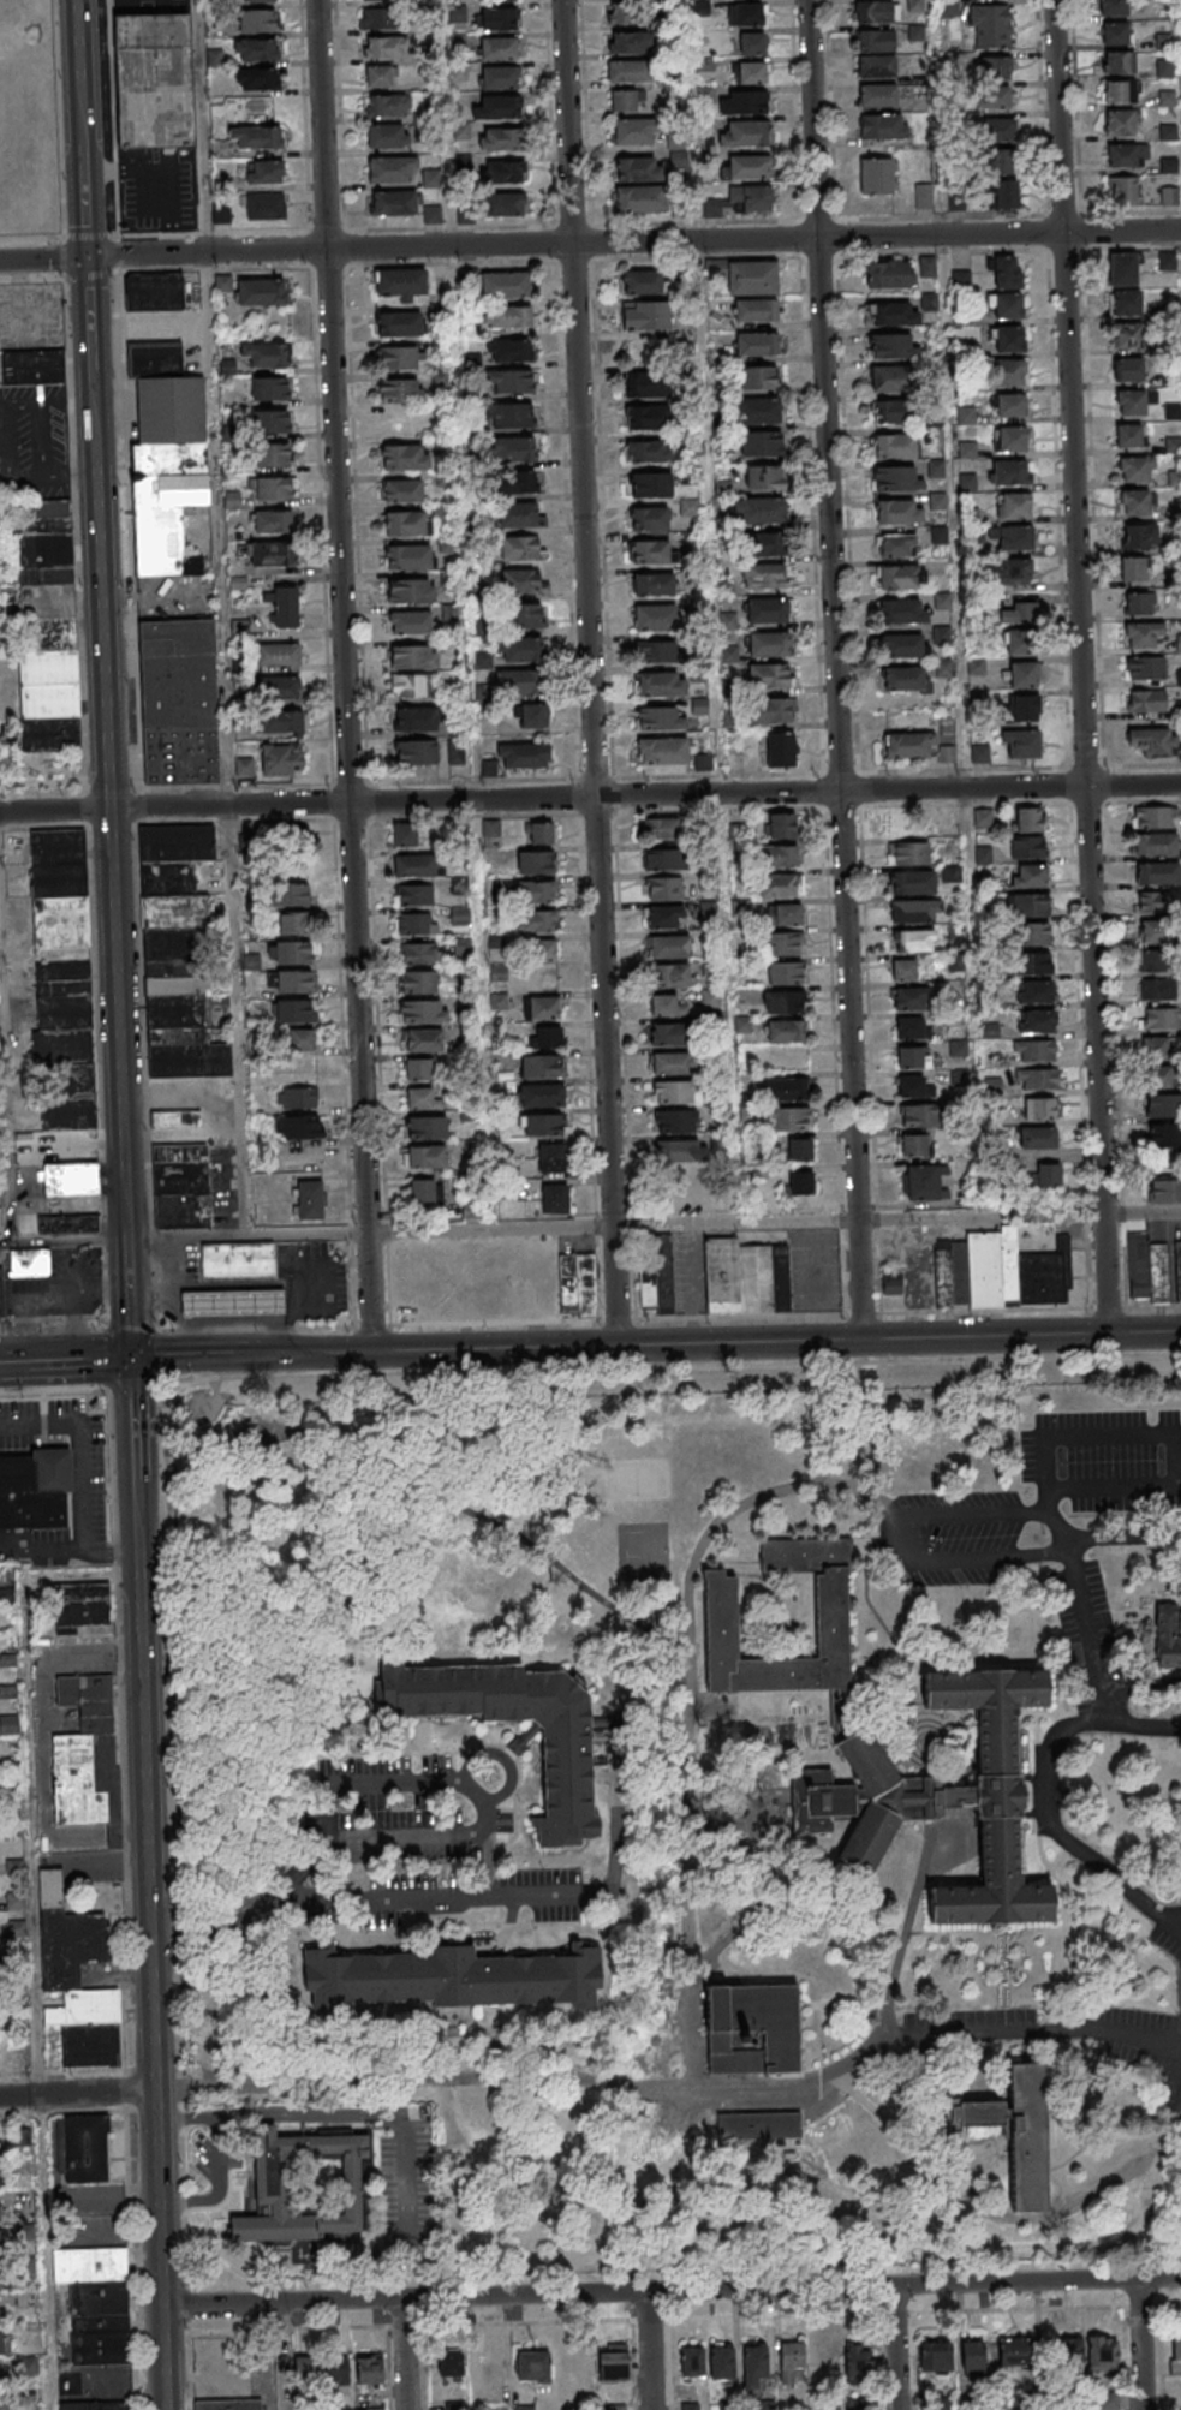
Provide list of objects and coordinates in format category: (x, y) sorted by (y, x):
building: (257, 0)
building: (372, 0)
building: (1114, 7)
building: (873, 11)
building: (746, 13)
building: (627, 14)
building: (378, 18)
building: (495, 18)
building: (257, 19)
building: (991, 25)
building: (1115, 34)
building: (876, 40)
building: (751, 42)
building: (631, 43)
building: (386, 47)
building: (499, 48)
building: (256, 49)
building: (1119, 62)
building: (876, 65)
building: (995, 67)
building: (1164, 67)
building: (628, 72)
building: (750, 72)
building: (380, 76)
building: (500, 77)
building: (153, 78)
building: (258, 78)
building: (1119, 91)
building: (877, 95)
building: (994, 96)
building: (1167, 97)
building: (625, 101)
building: (747, 101)
building: (387, 105)
building: (497, 106)
park: (14, 117)
building: (1122, 123)
building: (878, 124)
road: (198, 126)
building: (998, 127)
road: (79, 129)
building: (634, 131)
building: (750, 131)
building: (1168, 131)
building: (388, 135)
building: (257, 137)
building: (500, 138)
building: (1127, 155)
building: (1169, 163)
building: (748, 166)
building: (392, 168)
building: (639, 168)
building: (266, 171)
building: (503, 171)
building: (877, 175)
building: (431, 178)
building: (1123, 191)
building: (1003, 192)
building: (924, 195)
building: (638, 198)
building: (750, 198)
building: (393, 202)
building: (505, 203)
building: (267, 205)
building: (221, 211)
road: (590, 241)
traffic signals: (85, 257)
building: (1167, 260)
building: (1123, 268)
building: (1008, 270)
building: (890, 273)
building: (752, 276)
building: (642, 281)
building: (401, 282)
building: (505, 285)
building: (154, 291)
building: (261, 291)
building: (1125, 302)
building: (1006, 304)
building: (757, 309)
building: (893, 312)
building: (646, 315)
building: (508, 316)
building: (400, 323)
building: (1128, 335)
building: (1009, 338)
building: (757, 344)
building: (891, 346)
building: (509, 350)
building: (266, 356)
building: (400, 358)
building: (32, 366)
building: (1129, 370)
building: (1009, 372)
building: (759, 378)
building: (890, 378)
building: (513, 381)
building: (646, 384)
building: (268, 389)
building: (399, 390)
building: (1010, 405)
building: (890, 411)
building: (759, 412)
building: (512, 416)
building: (646, 417)
building: (270, 422)
building: (1128, 434)
building: (1012, 439)
building: (761, 445)
building: (1173, 445)
building: (894, 446)
building: (512, 449)
building: (646, 451)
building: (270, 455)
building: (166, 457)
building: (405, 457)
building: (936, 469)
building: (1137, 469)
building: (1008, 472)
building: (764, 478)
building: (896, 479)
building: (967, 482)
building: (518, 483)
building: (650, 484)
road: (706, 488)
building: (273, 489)
building: (402, 491)
building: (937, 501)
building: (1134, 501)
building: (1014, 505)
building: (761, 512)
building: (897, 512)
building: (441, 513)
building: (518, 514)
building: (649, 518)
building: (273, 521)
building: (406, 523)
road: (215, 529)
road: (96, 532)
building: (1139, 536)
building: (1016, 537)
building: (767, 544)
building: (896, 545)
building: (520, 547)
building: (649, 550)
building: (273, 553)
building: (408, 556)
building: (1135, 568)
building: (1014, 571)
building: (765, 575)
building: (901, 575)
building: (521, 580)
building: (652, 584)
building: (411, 590)
building: (1139, 603)
building: (282, 604)
building: (769, 609)
building: (903, 610)
building: (1019, 613)
building: (529, 615)
building: (655, 618)
building: (410, 622)
building: (47, 626)
building: (1144, 634)
building: (1016, 642)
building: (769, 643)
building: (905, 645)
building: (521, 649)
building: (656, 651)
building: (278, 654)
building: (414, 657)
road: (1079, 667)
building: (1144, 667)
road: (834, 669)
road: (587, 673)
building: (1022, 674)
road: (342, 675)
building: (770, 675)
building: (907, 679)
building: (519, 682)
building: (661, 684)
building: (413, 685)
building: (278, 688)
building: (178, 700)
building: (1145, 700)
building: (699, 706)
building: (1026, 708)
building: (771, 710)
building: (535, 715)
building: (416, 718)
building: (660, 718)
building: (278, 722)
building: (1153, 740)
building: (1024, 742)
building: (908, 744)
building: (780, 748)
building: (662, 750)
building: (416, 751)
building: (947, 753)
building: (524, 754)
building: (281, 758)
road: (590, 797)
building: (1155, 817)
building: (1027, 818)
building: (782, 825)
building: (661, 828)
building: (541, 831)
building: (405, 834)
building: (292, 845)
building: (1156, 845)
building: (1027, 846)
building: (908, 853)
building: (983, 854)
building: (782, 855)
building: (663, 859)
building: (537, 863)
building: (417, 864)
building: (1158, 873)
building: (1028, 875)
building: (911, 881)
building: (781, 884)
building: (59, 887)
building: (664, 889)
building: (537, 891)
building: (292, 894)
building: (412, 894)
building: (1155, 903)
building: (1030, 905)
building: (708, 909)
building: (915, 911)
building: (785, 914)
building: (460, 915)
building: (664, 918)
building: (535, 920)
building: (294, 923)
building: (416, 923)
building: (1153, 932)
building: (1033, 933)
building: (913, 941)
building: (783, 943)
building: (669, 947)
building: (544, 949)
building: (292, 950)
building: (174, 953)
building: (417, 953)
building: (955, 961)
building: (1034, 962)
building: (1151, 962)
building: (903, 970)
building: (785, 972)
building: (670, 974)
building: (294, 980)
building: (416, 980)
building: (1158, 990)
building: (1033, 991)
building: (912, 997)
building: (709, 998)
building: (785, 1001)
building: (666, 1004)
building: (543, 1008)
building: (293, 1009)
building: (419, 1010)
road: (233, 1020)
building: (1161, 1020)
building: (1037, 1021)
building: (912, 1027)
building: (785, 1030)
building: (669, 1033)
building: (548, 1037)
building: (296, 1039)
building: (422, 1039)
building: (66, 1042)
building: (959, 1048)
building: (1033, 1050)
building: (1159, 1050)
building: (913, 1056)
building: (673, 1062)
building: (541, 1067)
building: (304, 1068)
building: (418, 1068)
building: (1036, 1079)
building: (1161, 1079)
road: (119, 1082)
building: (913, 1086)
building: (783, 1090)
building: (676, 1091)
building: (541, 1096)
building: (297, 1097)
building: (422, 1098)
building: (1040, 1108)
building: (1162, 1108)
building: (920, 1115)
building: (177, 1118)
building: (675, 1120)
building: (788, 1120)
road: (5, 1121)
building: (543, 1123)
building: (302, 1126)
building: (427, 1127)
building: (1039, 1137)
building: (1164, 1137)
building: (913, 1144)
building: (680, 1150)
building: (799, 1150)
building: (428, 1156)
building: (550, 1157)
building: (1048, 1175)
building: (71, 1179)
building: (920, 1181)
building: (800, 1182)
building: (180, 1186)
building: (424, 1189)
building: (1164, 1191)
building: (310, 1199)
building: (555, 1199)
building: (68, 1223)
road: (590, 1225)
building: (241, 1259)
building: (30, 1263)
building: (1149, 1266)
building: (1179, 1267)
parking lot: (818, 1270)
building: (656, 1271)
building: (1015, 1271)
parking lot: (693, 1272)
building: (942, 1273)
building: (750, 1277)
building: (893, 1279)
building: (578, 1283)
building: (1, 1290)
building: (237, 1302)
road: (590, 1319)
road: (775, 1341)
road: (302, 1353)
road: (181, 1356)
traffic signals: (131, 1358)
road: (79, 1359)
road: (13, 1361)
road: (668, 1367)
road: (1165, 1434)
parking lot: (1105, 1458)
road: (84, 1474)
park: (639, 1481)
building: (37, 1487)
road: (913, 1534)
parking lot: (965, 1538)
road: (1127, 1538)
park: (643, 1553)
building: (80, 1605)
building: (722, 1618)
parking lot: (1092, 1631)
road: (1093, 1631)
building: (1167, 1638)
road: (1143, 1684)
building: (8, 1723)
building: (88, 1754)
road: (508, 1759)
building: (565, 1782)
road: (407, 1783)
building: (941, 1797)
road: (1051, 1797)
road: (616, 1835)
road: (414, 1837)
road: (154, 1883)
road: (272, 1895)
road: (443, 1898)
road: (205, 1935)
road: (903, 1935)
building: (76, 1979)
building: (455, 1979)
building: (751, 2028)
parking lot: (1038, 2032)
building: (19, 2056)
road: (681, 2089)
road: (80, 2092)
road: (338, 2118)
building: (757, 2124)
building: (1020, 2134)
building: (0, 2146)
building: (87, 2148)
building: (0, 2181)
road: (215, 2181)
building: (272, 2184)
road: (1153, 2194)
building: (1, 2212)
building: (1, 2244)
building: (1, 2279)
road: (674, 2290)
building: (96, 2302)
building: (2, 2343)
road: (1146, 2344)
road: (902, 2348)
road: (656, 2350)
building: (1098, 2351)
road: (404, 2354)
building: (1019, 2354)
building: (1176, 2354)
building: (972, 2355)
road: (290, 2356)
building: (934, 2356)
building: (791, 2358)
building: (451, 2362)
building: (693, 2362)
building: (722, 2362)
building: (858, 2362)
building: (614, 2363)
building: (754, 2364)
building: (533, 2366)
building: (369, 2369)
building: (305, 2370)
building: (336, 2372)
building: (228, 2404)
building: (6, 2405)
building: (95, 2405)
building: (525, 2408)
building: (370, 2409)

